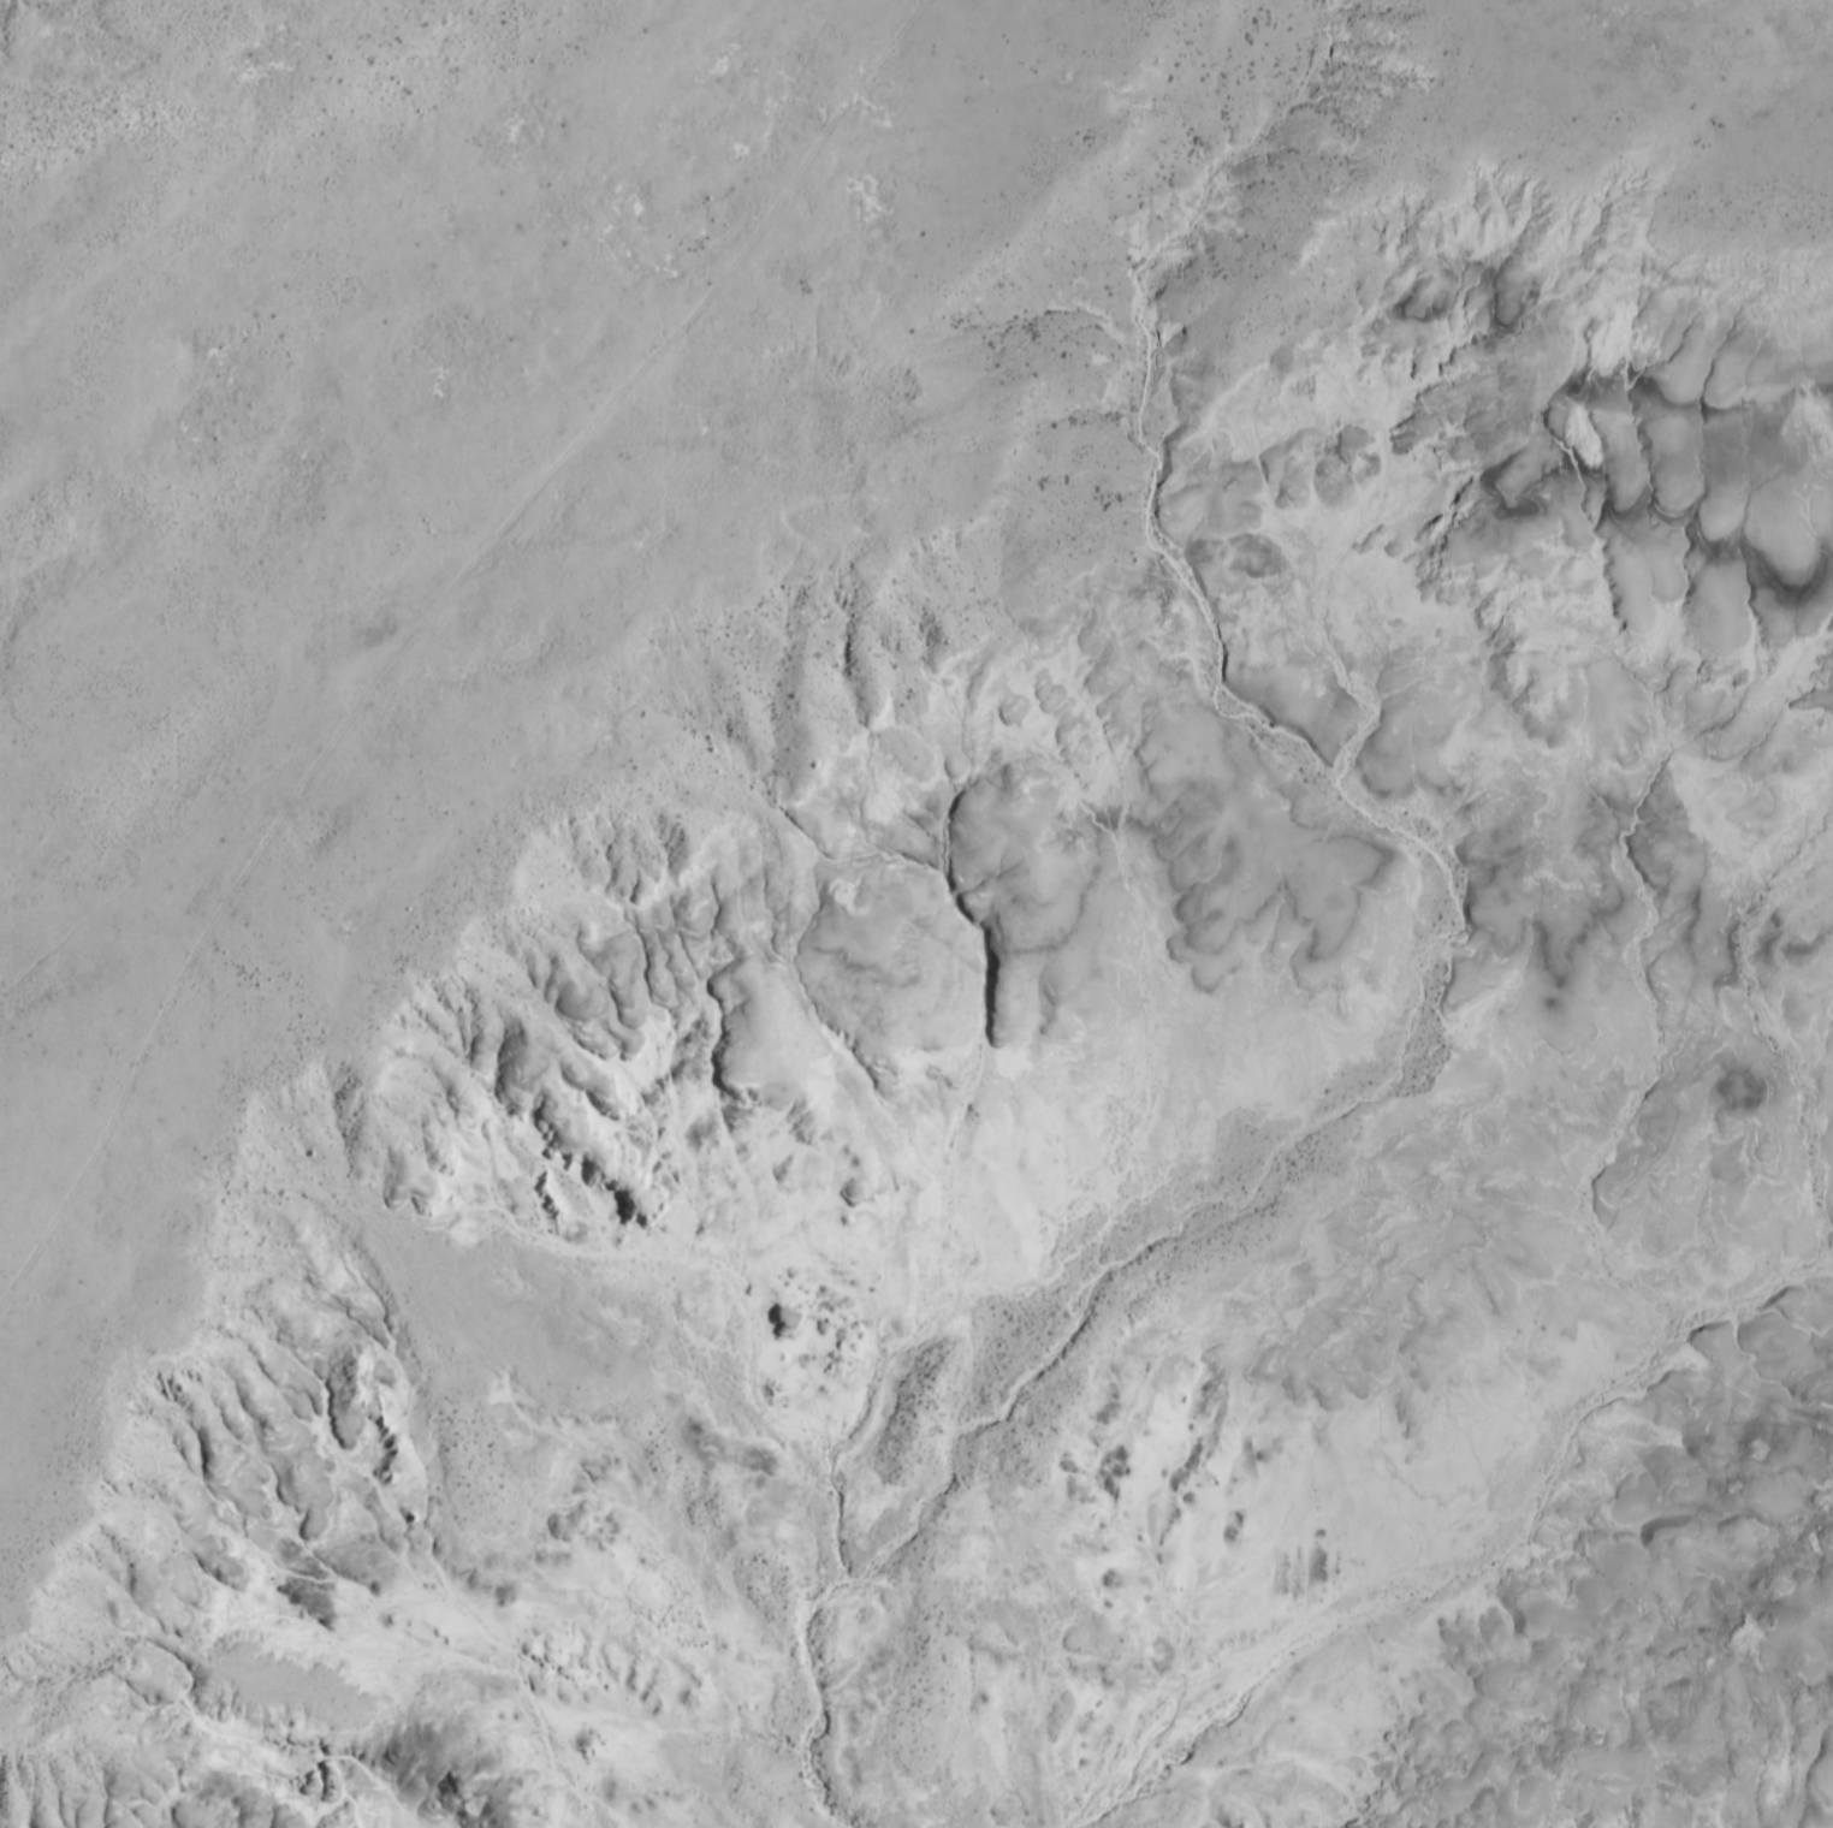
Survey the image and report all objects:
road: (1795, 48)

